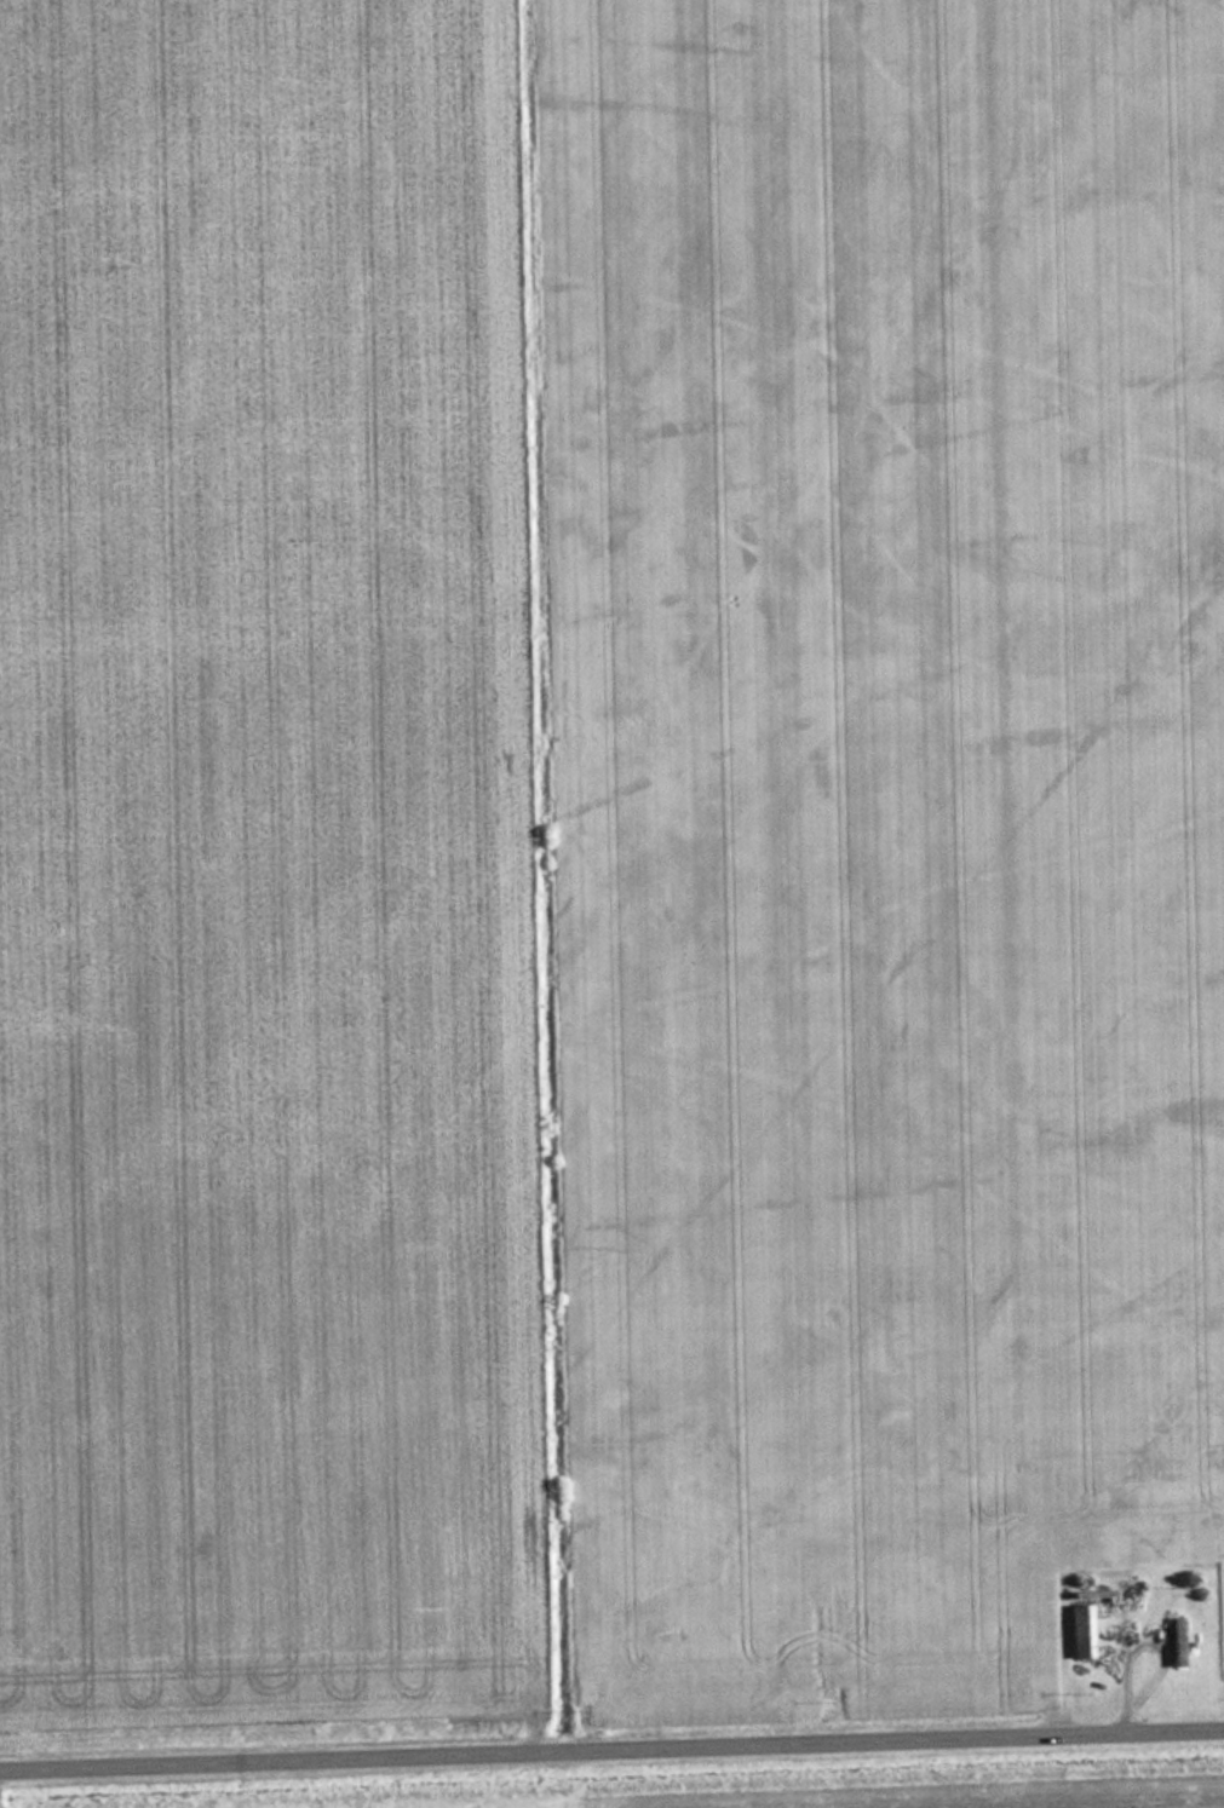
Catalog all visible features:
building: (1080, 1630)
building: (1176, 1641)
road: (611, 1750)

